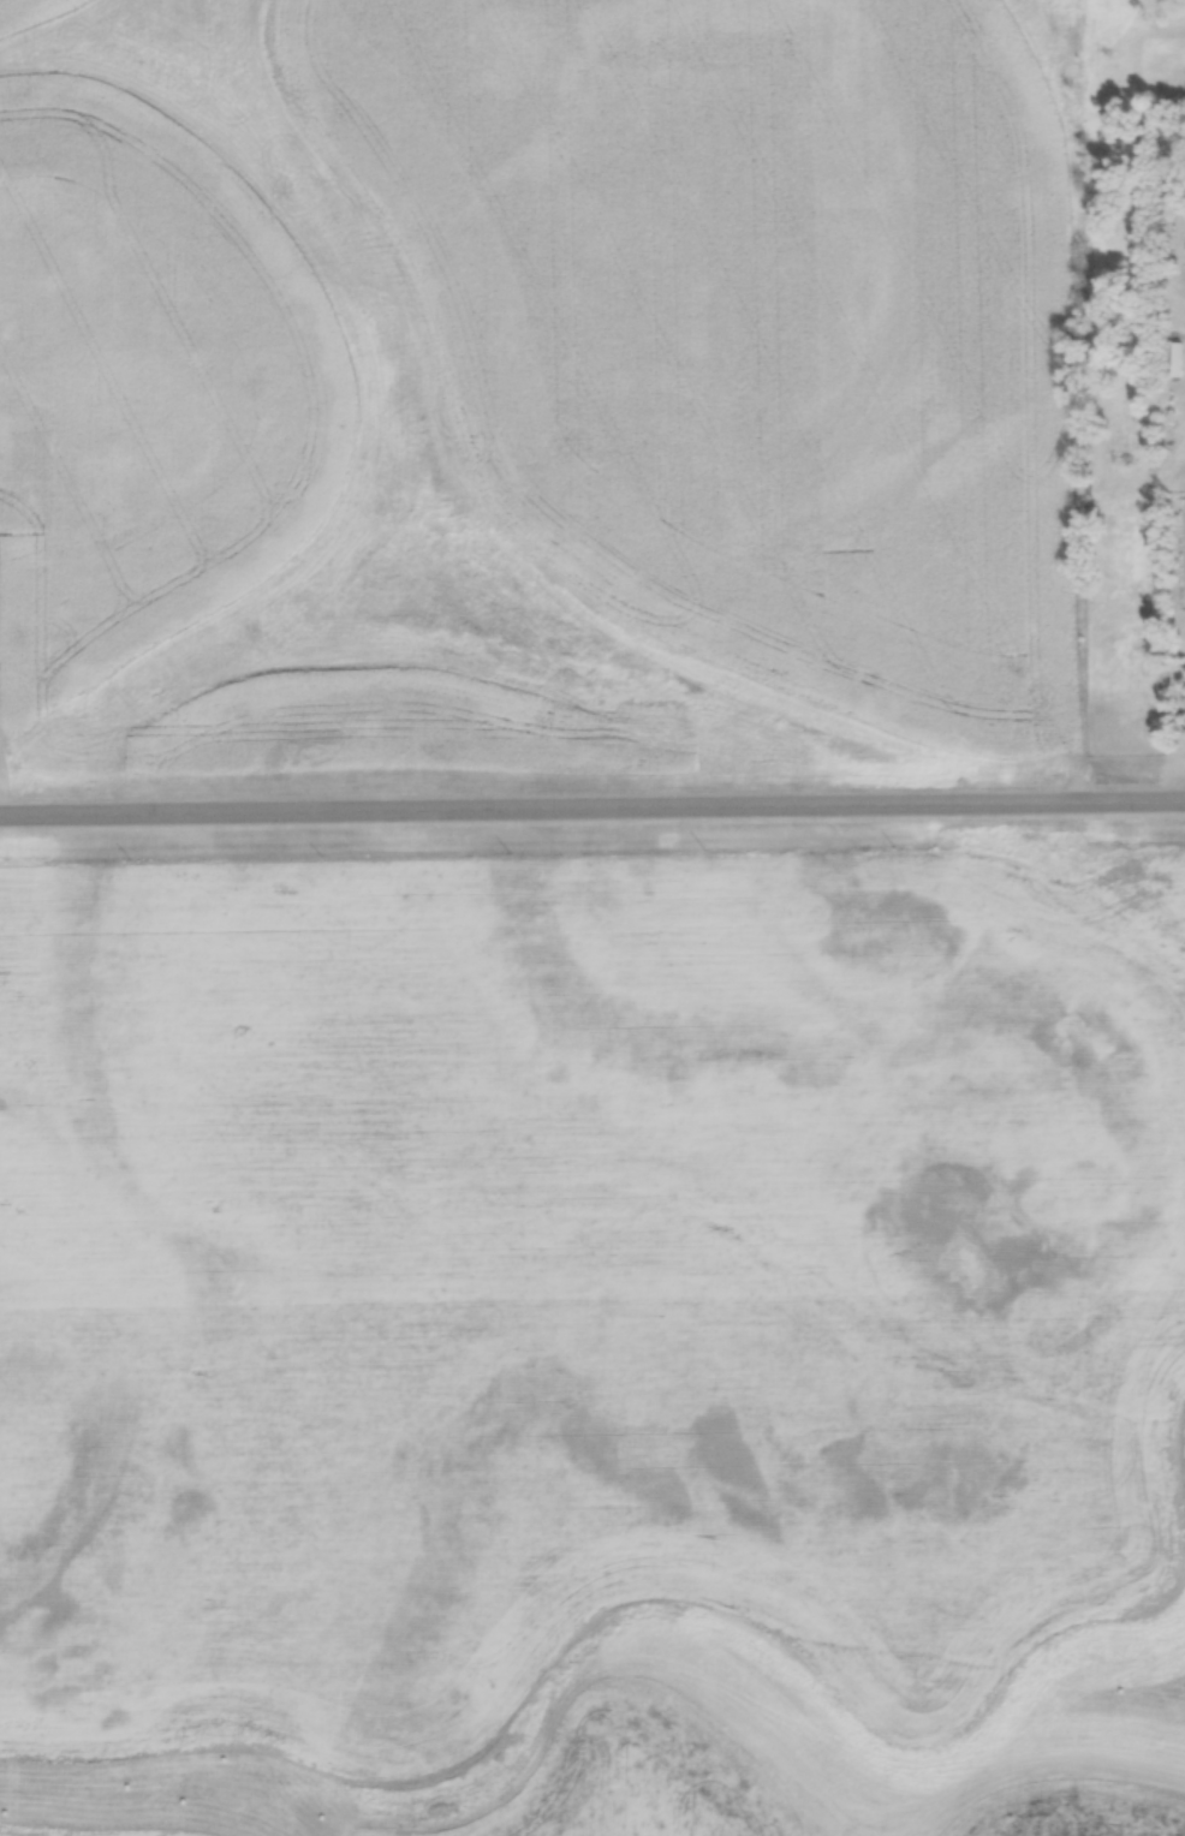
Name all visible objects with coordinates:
road: (592, 810)

